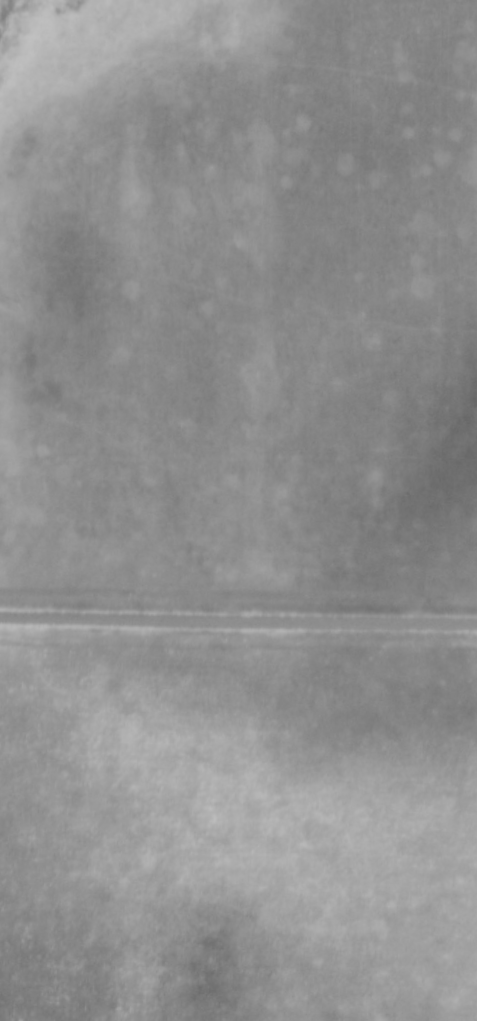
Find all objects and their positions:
road: (238, 622)

